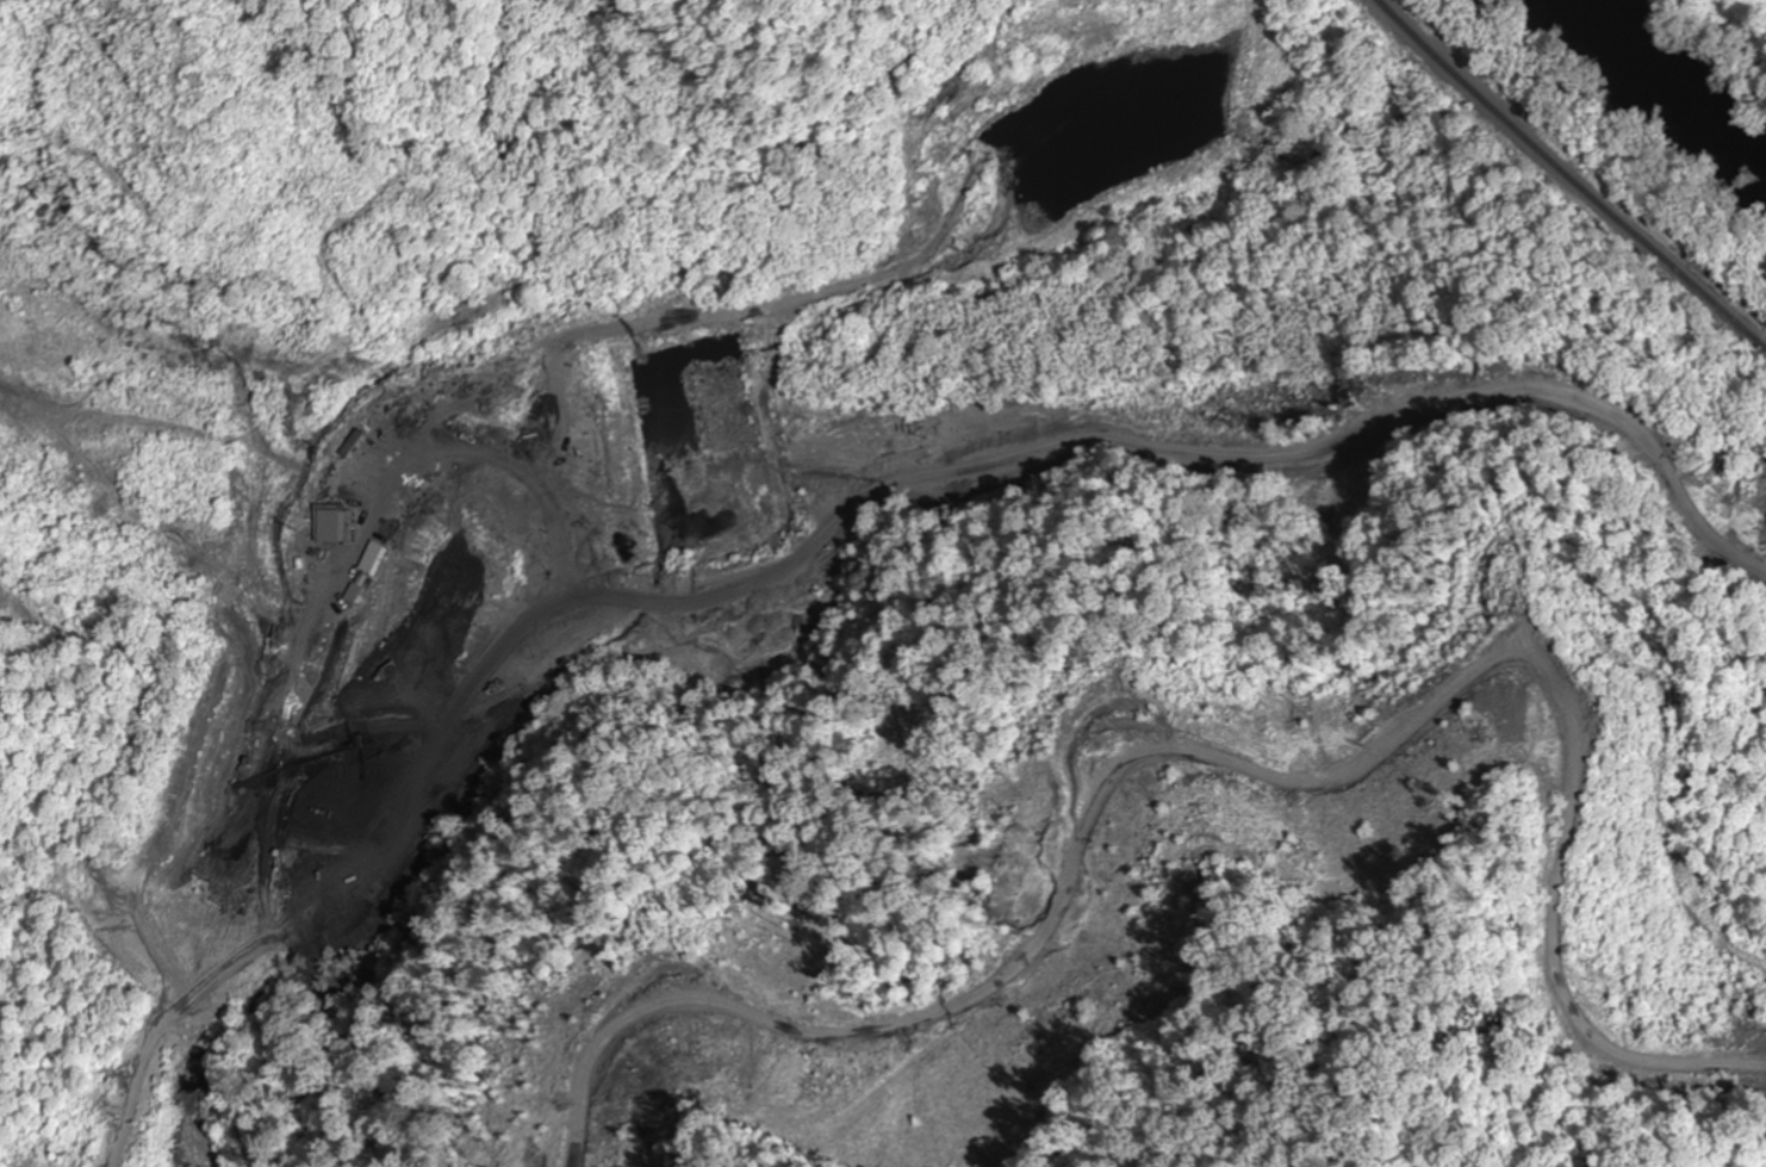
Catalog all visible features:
river: (1677, 81)
railway: (1572, 179)

